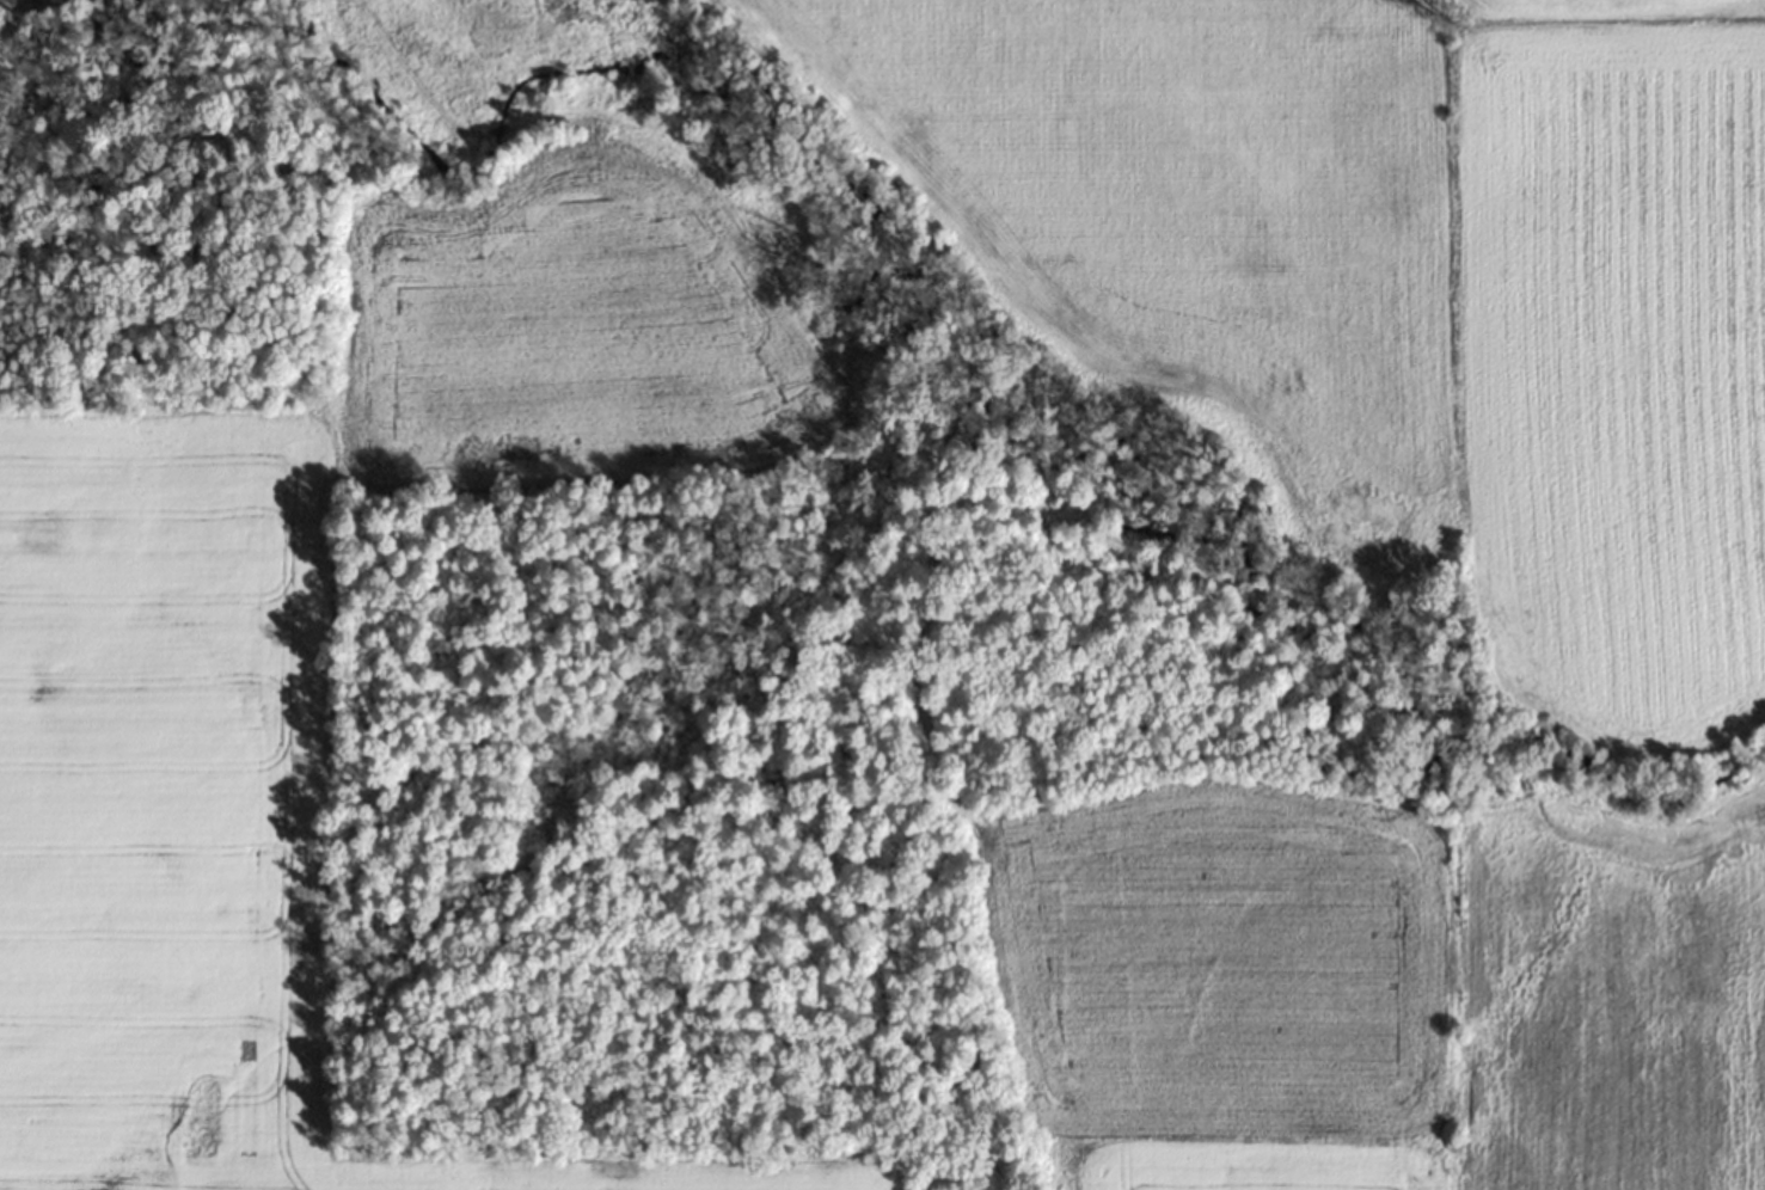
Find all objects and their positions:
crop: (5, 8)
crop: (484, 57)
crop: (1386, 558)
crop: (190, 806)

